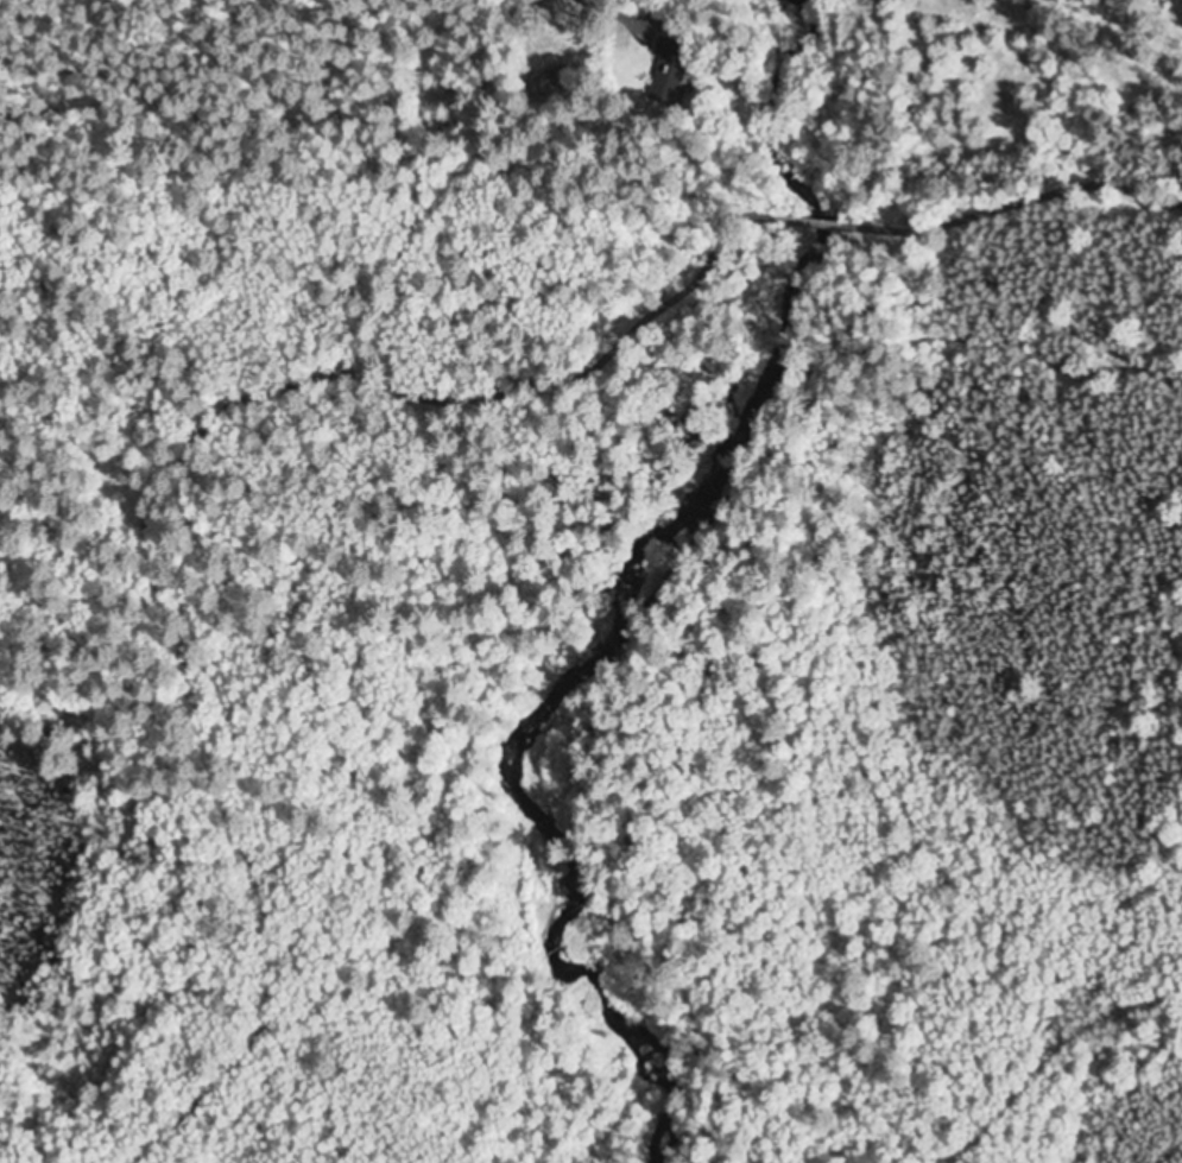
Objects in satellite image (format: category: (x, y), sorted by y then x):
building: (680, 78)
building: (556, 86)
road: (807, 222)

